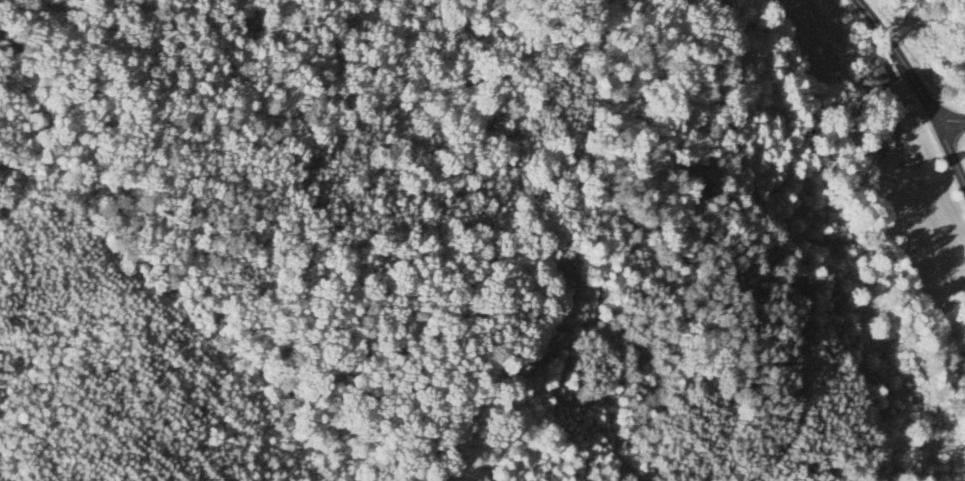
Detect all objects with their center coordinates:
road: (900, 58)
road: (953, 121)
road: (953, 147)

